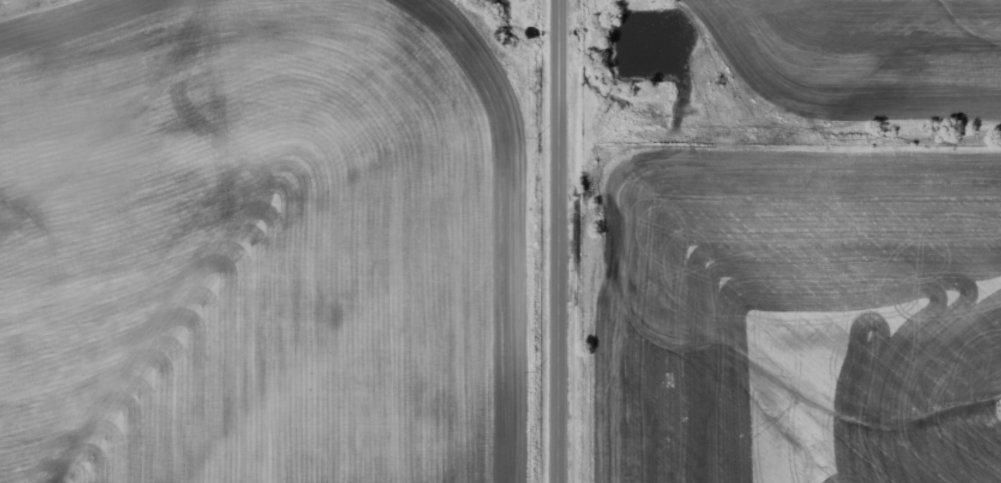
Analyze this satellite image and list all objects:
road: (563, 241)

